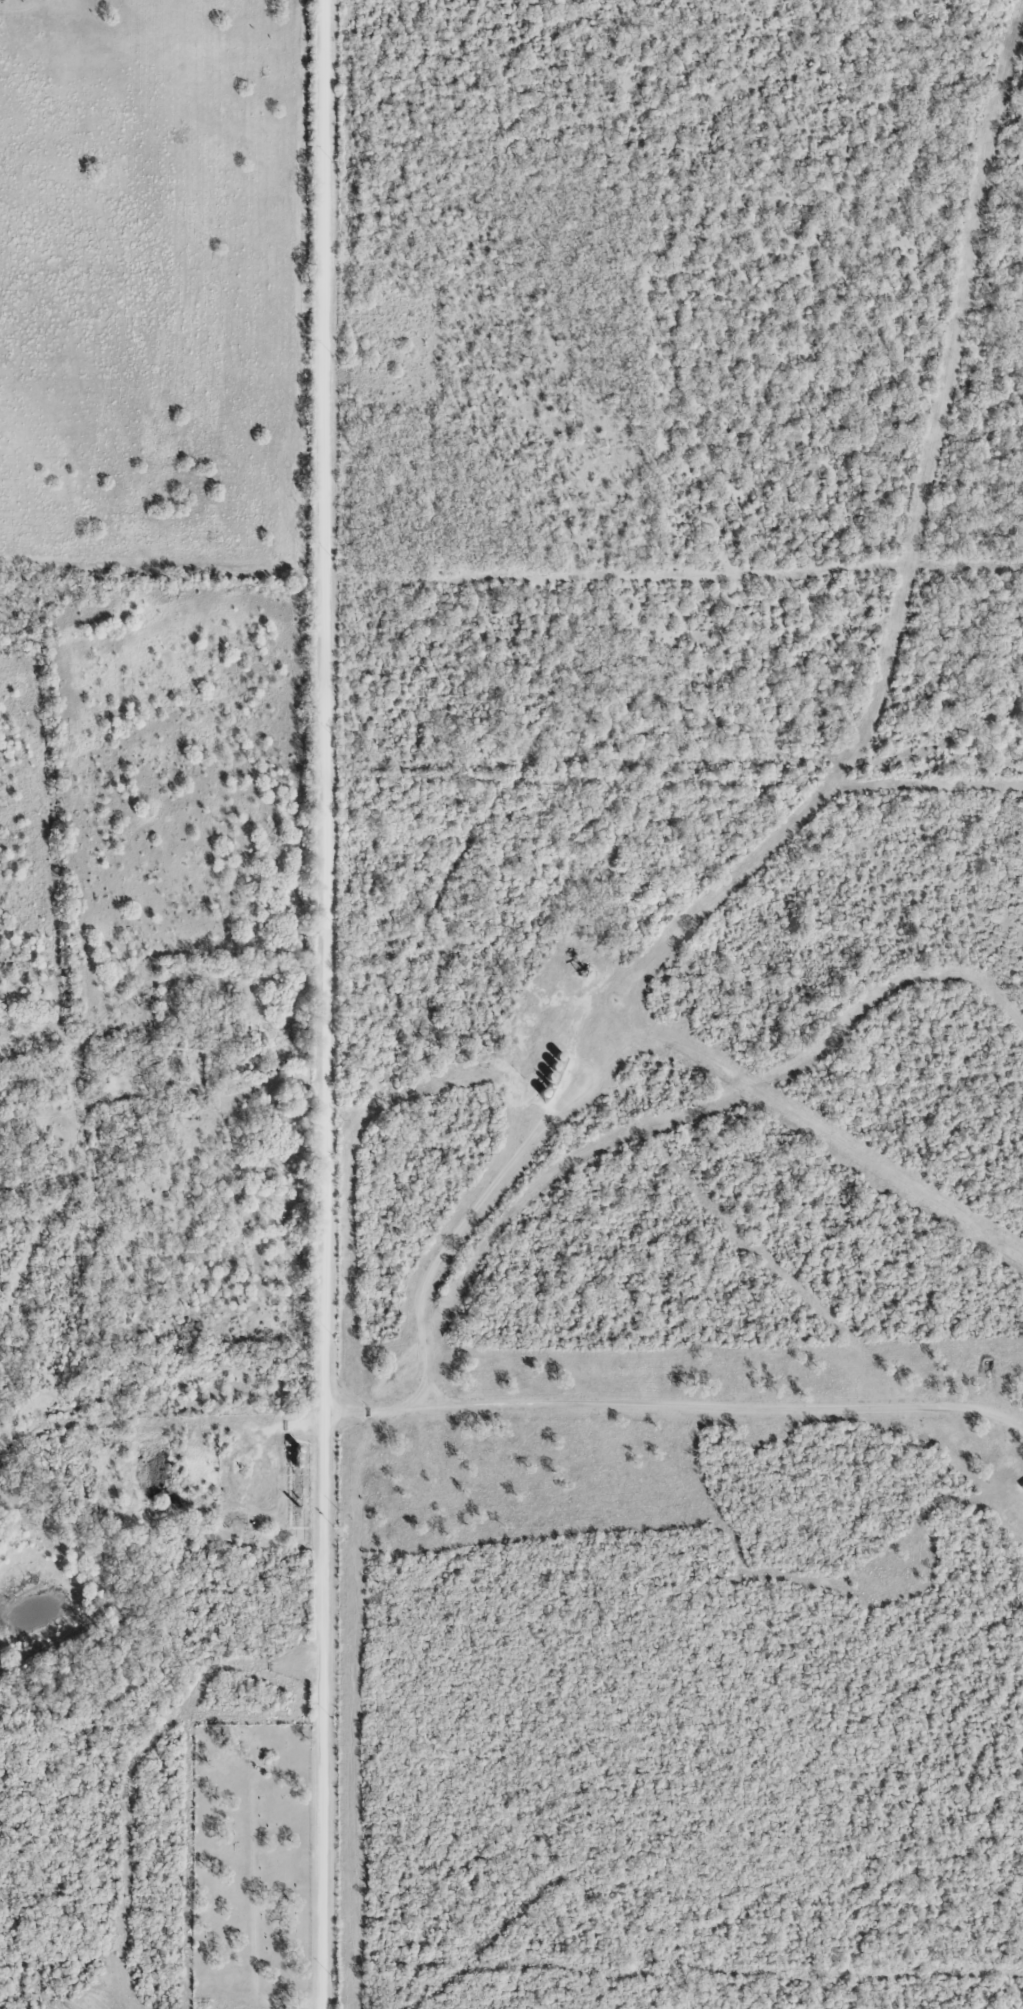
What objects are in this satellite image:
road: (320, 1004)
road: (674, 1404)
park: (250, 1866)

